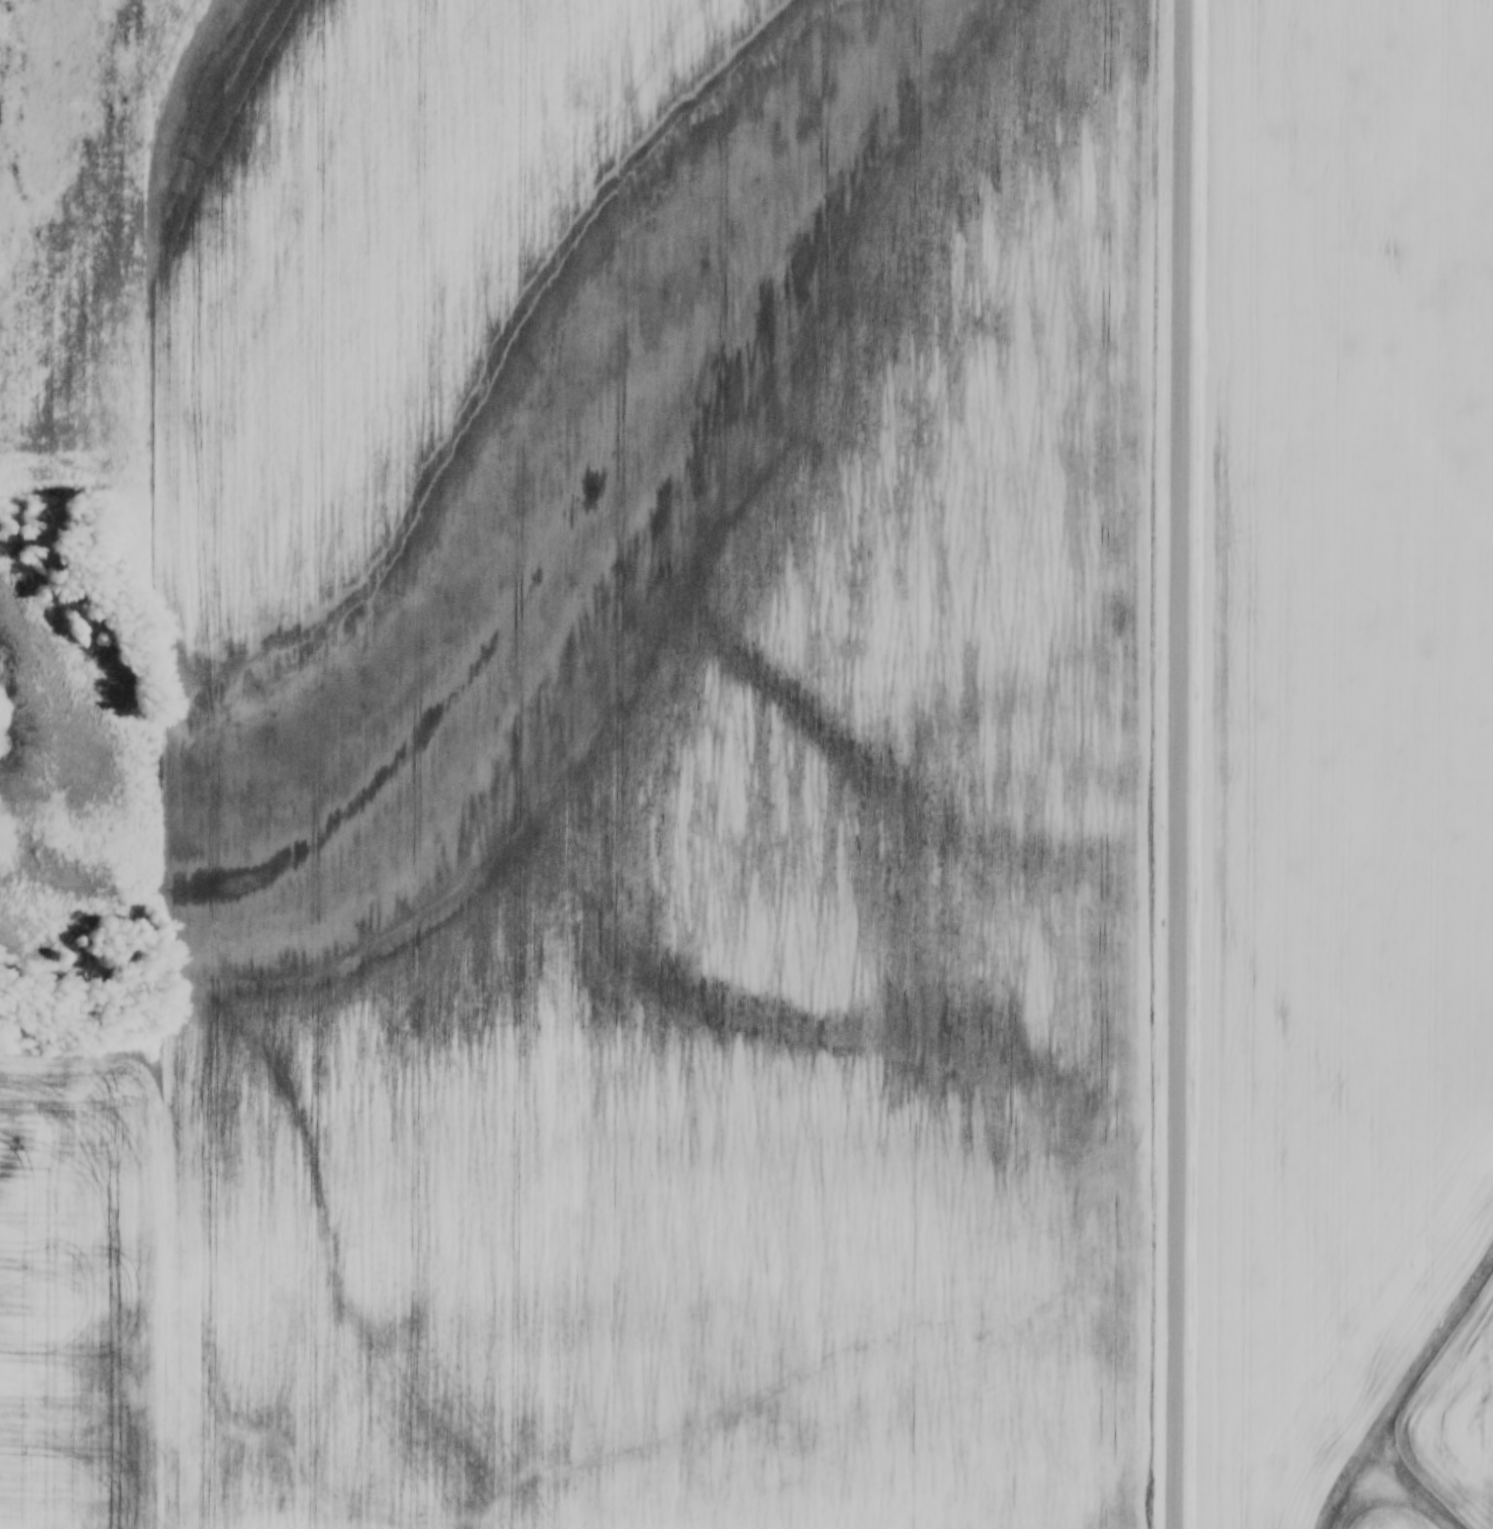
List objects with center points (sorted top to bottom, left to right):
road: (1182, 764)

